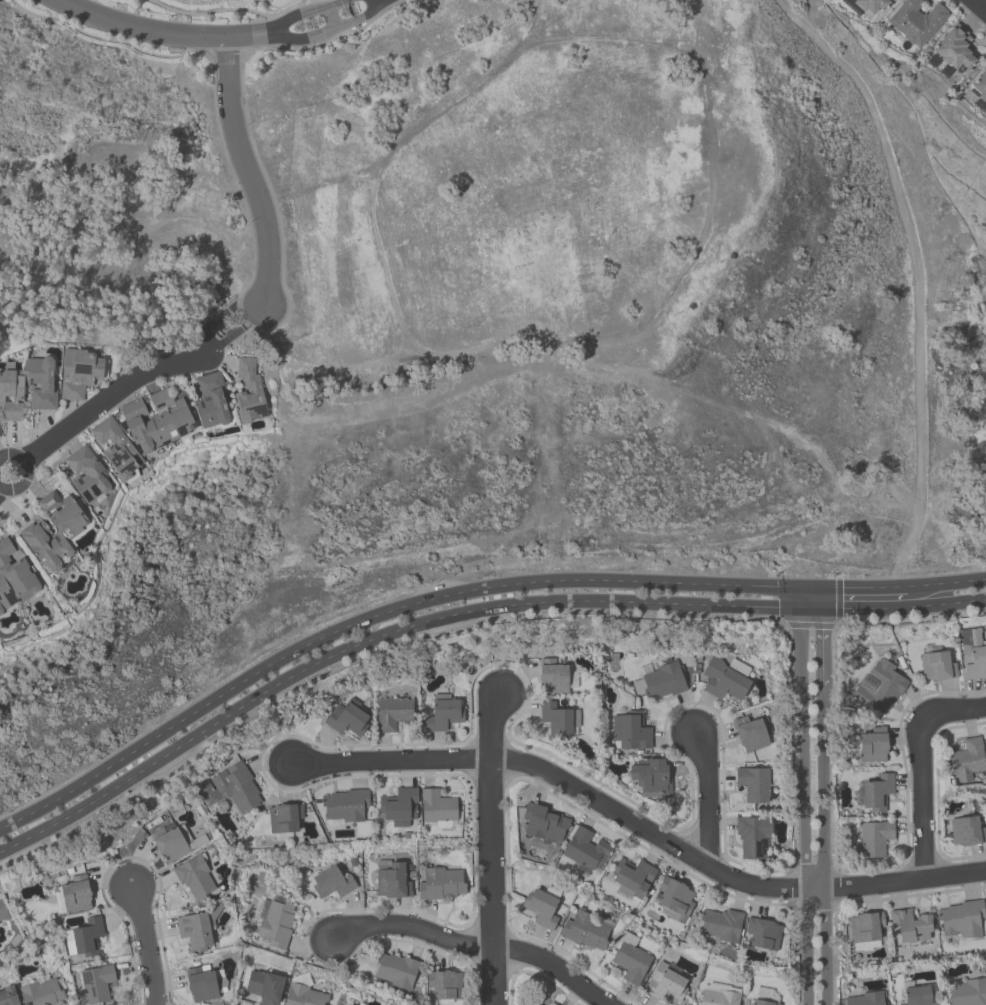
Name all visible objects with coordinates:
building: (870, 7)
road: (978, 7)
building: (918, 23)
road: (214, 35)
building: (956, 52)
building: (980, 86)
road: (247, 172)
road: (233, 308)
road: (244, 325)
road: (203, 340)
road: (211, 347)
building: (80, 373)
building: (29, 388)
building: (250, 392)
road: (105, 398)
building: (213, 402)
building: (142, 432)
road: (26, 471)
building: (87, 476)
building: (38, 552)
road: (947, 584)
road: (859, 588)
traffic signals: (842, 589)
road: (811, 598)
road: (898, 608)
traffic signals: (778, 609)
road: (378, 616)
traffic signals: (822, 631)
road: (378, 638)
road: (822, 648)
building: (973, 655)
building: (938, 667)
building: (556, 678)
building: (725, 679)
building: (661, 682)
building: (881, 688)
building: (394, 714)
building: (444, 716)
building: (348, 720)
building: (559, 720)
building: (629, 732)
building: (751, 735)
building: (870, 746)
building: (968, 760)
road: (921, 765)
building: (650, 778)
building: (754, 785)
building: (239, 790)
building: (875, 793)
road: (704, 802)
road: (805, 805)
building: (344, 807)
building: (400, 808)
building: (437, 810)
building: (286, 819)
building: (547, 825)
road: (637, 826)
building: (967, 832)
building: (754, 837)
building: (875, 839)
building: (173, 843)
road: (823, 848)
road: (491, 850)
building: (587, 850)
building: (195, 878)
building: (392, 880)
building: (633, 880)
building: (333, 883)
building: (441, 884)
building: (73, 896)
building: (674, 900)
building: (542, 909)
building: (960, 921)
building: (276, 923)
building: (720, 925)
building: (911, 928)
building: (198, 931)
building: (587, 932)
building: (865, 932)
building: (763, 934)
building: (85, 938)
road: (145, 945)
road: (472, 947)
building: (631, 960)
building: (395, 971)
building: (666, 982)
building: (97, 984)
building: (205, 984)
building: (444, 986)
building: (265, 987)
building: (44, 993)
building: (966, 993)
building: (305, 995)
building: (9, 996)
building: (718, 996)
building: (919, 996)
building: (766, 998)
building: (866, 999)
building: (349, 1004)
building: (534, 1004)
building: (552, 1004)

